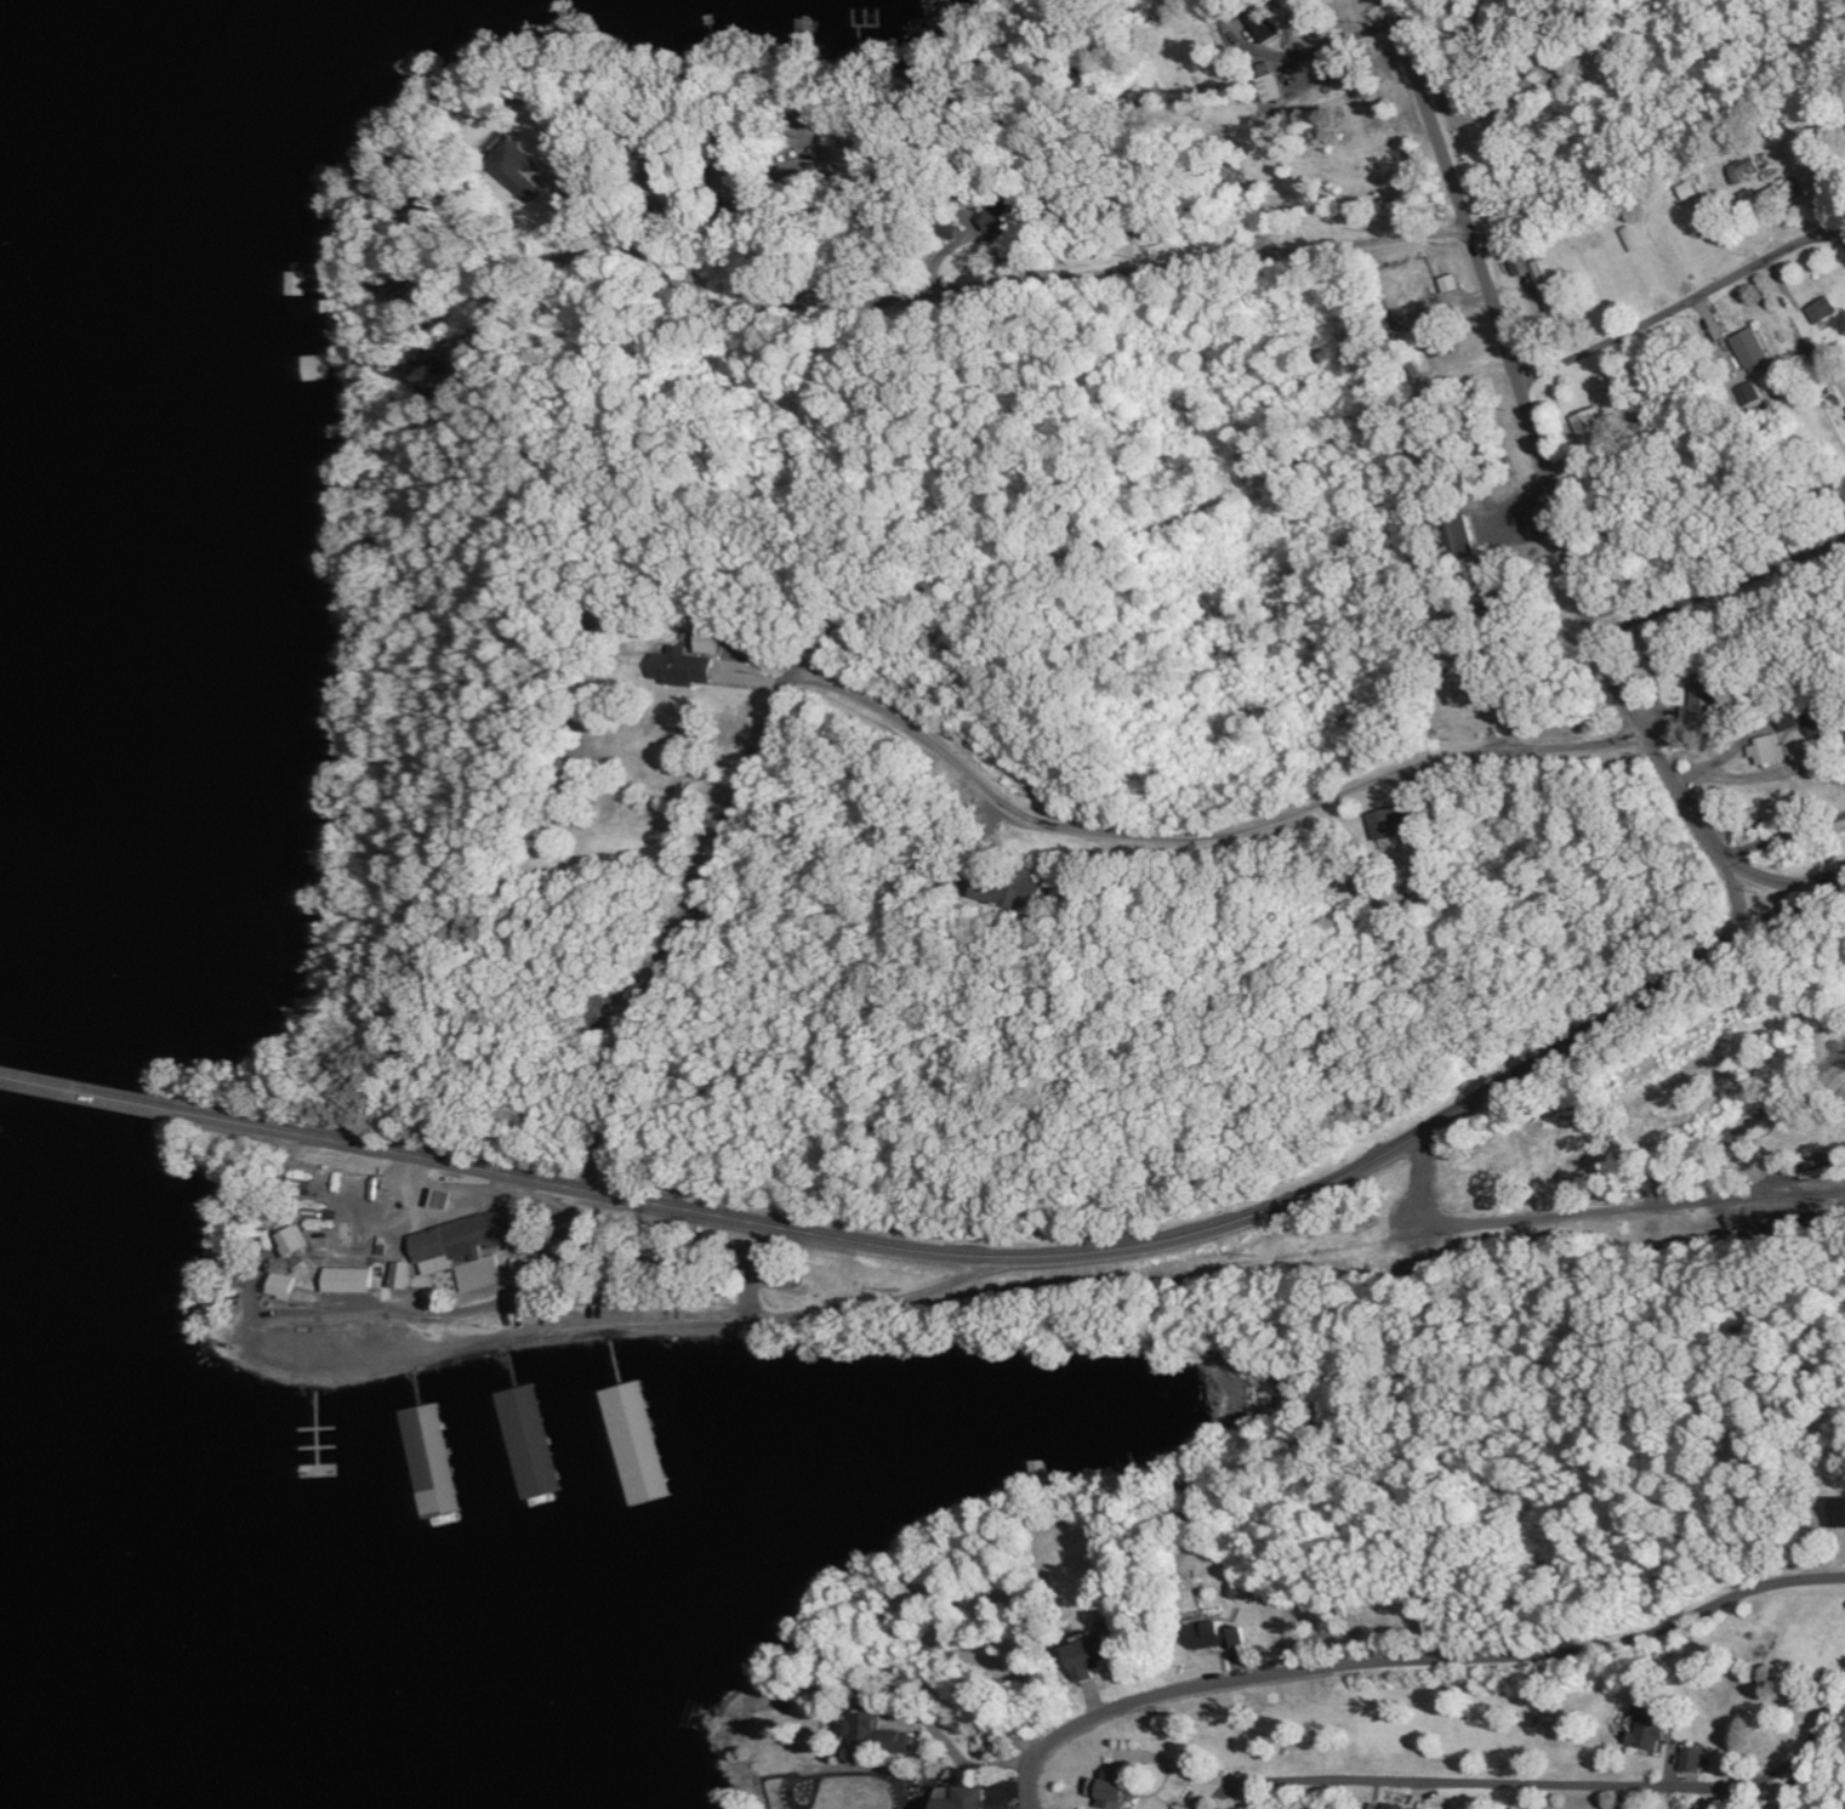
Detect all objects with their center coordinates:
building: (1263, 24)
building: (1266, 84)
building: (1747, 170)
building: (528, 176)
road: (1844, 238)
building: (1630, 239)
road: (1844, 239)
building: (1448, 284)
building: (406, 291)
road: (956, 292)
road: (1681, 307)
building: (1823, 311)
building: (1752, 352)
building: (1422, 364)
building: (315, 368)
building: (445, 379)
building: (1593, 427)
road: (1551, 488)
road: (1172, 545)
road: (1721, 587)
building: (708, 641)
building: (682, 669)
building: (1462, 692)
building: (1699, 701)
building: (1810, 723)
building: (1771, 751)
building: (1386, 825)
road: (1213, 840)
road: (1787, 841)
building: (1012, 892)
road: (1739, 895)
road: (670, 921)
river: (102, 925)
road: (93, 1093)
building: (440, 1202)
building: (294, 1241)
building: (467, 1250)
road: (1058, 1255)
building: (404, 1276)
building: (351, 1281)
building: (285, 1287)
building: (637, 1424)
building: (535, 1443)
building: (437, 1461)
building: (1838, 1512)
building: (1217, 1636)
building: (1089, 1657)
road: (1410, 1661)
building: (1651, 1730)
building: (876, 1734)
road: (1815, 1752)
building: (1695, 1759)
road: (1530, 1784)
building: (1103, 1790)
building: (961, 1799)
building: (1177, 1807)
building: (1395, 1807)
building: (1693, 1808)

